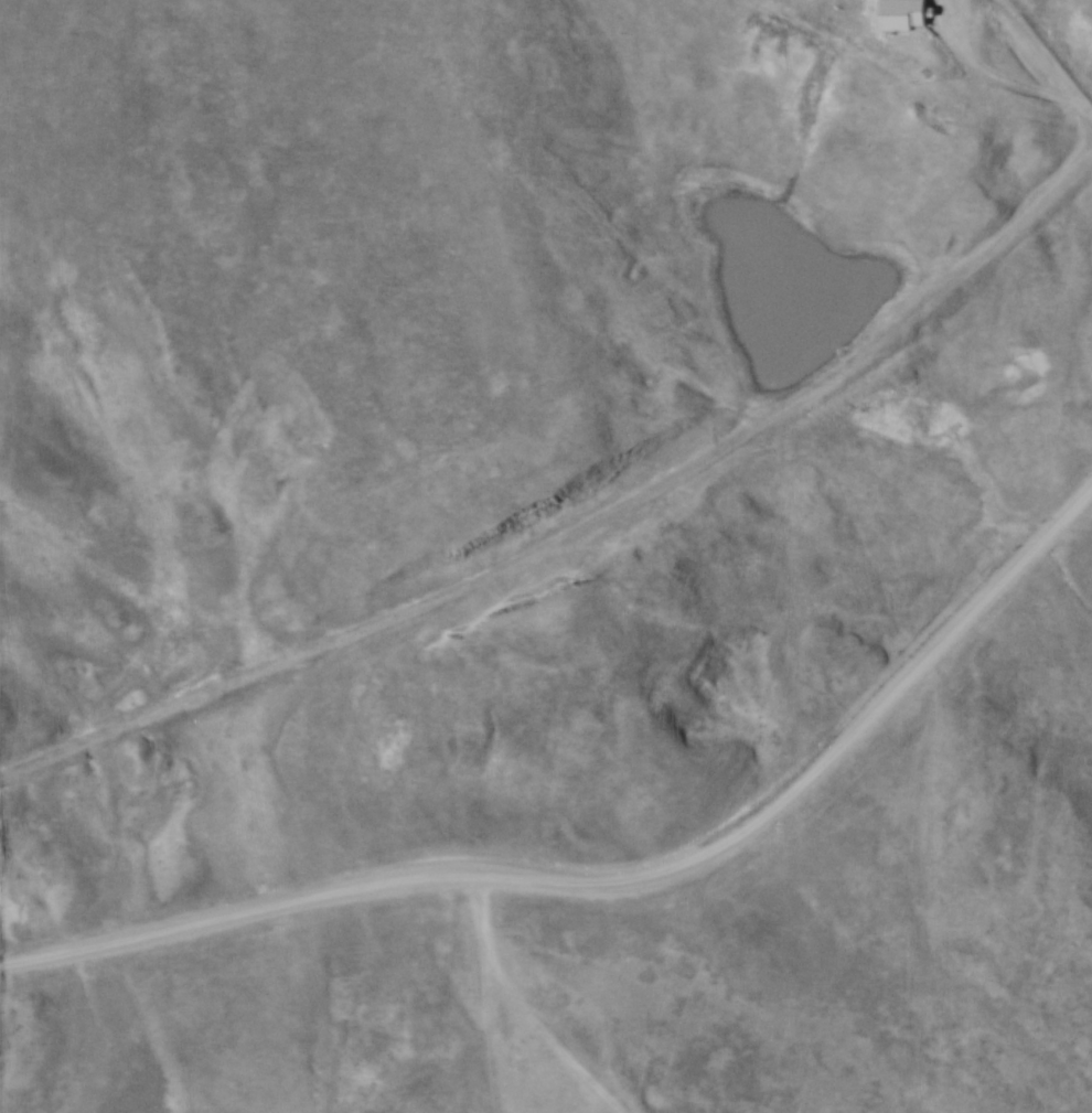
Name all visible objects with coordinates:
building: (897, 14)
road: (1039, 53)
road: (991, 74)
road: (1086, 115)
railway: (579, 525)
road: (615, 879)

